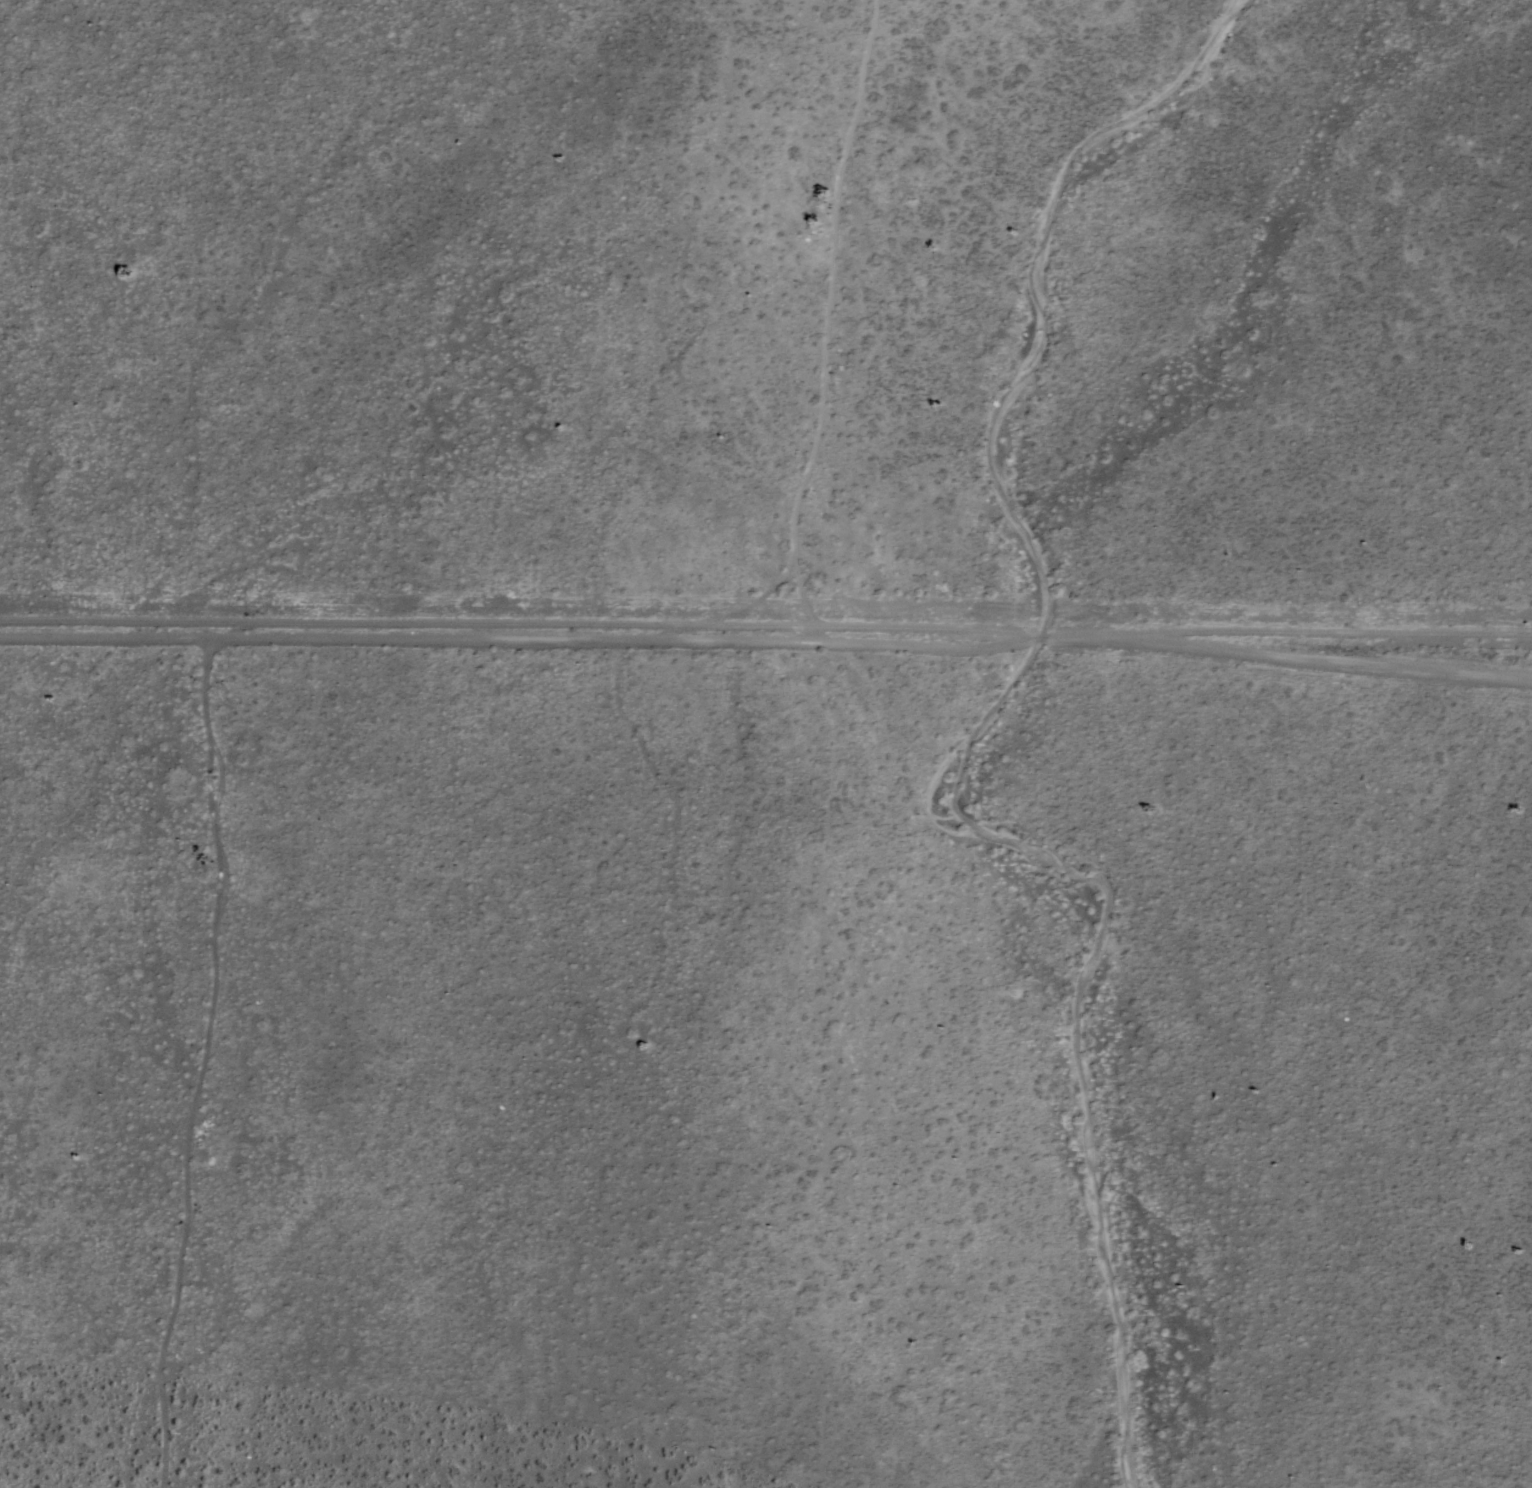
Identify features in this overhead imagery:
road: (766, 625)
road: (203, 1057)

